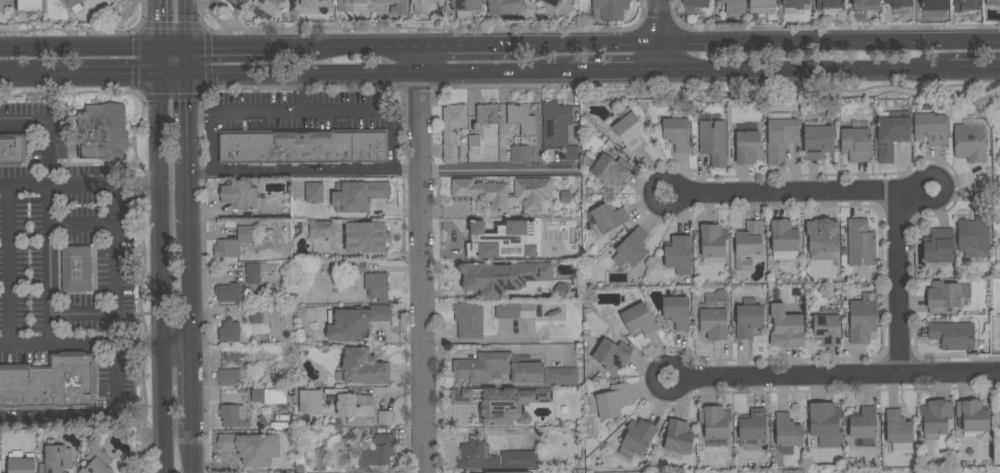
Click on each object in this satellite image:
building: (73, 2)
building: (552, 2)
building: (993, 2)
building: (313, 3)
building: (795, 3)
building: (899, 3)
building: (4, 4)
building: (348, 4)
building: (829, 4)
building: (267, 5)
building: (693, 5)
building: (935, 5)
building: (966, 5)
building: (30, 6)
building: (396, 6)
building: (422, 6)
building: (506, 6)
building: (734, 6)
building: (763, 7)
building: (863, 7)
building: (465, 8)
building: (611, 9)
road: (658, 9)
traffic signals: (160, 17)
road: (657, 18)
road: (185, 21)
road: (756, 37)
road: (159, 38)
road: (467, 39)
road: (361, 40)
road: (230, 42)
traffic signals: (217, 43)
road: (79, 44)
road: (657, 53)
road: (419, 57)
road: (186, 59)
road: (612, 71)
road: (803, 71)
road: (493, 73)
road: (975, 73)
road: (302, 74)
road: (174, 76)
road: (86, 77)
traffic signals: (125, 77)
road: (6, 79)
road: (301, 93)
road: (134, 95)
traffic signals: (188, 106)
road: (303, 112)
building: (487, 114)
building: (555, 118)
building: (521, 119)
building: (931, 125)
building: (452, 130)
building: (629, 130)
building: (102, 132)
building: (677, 134)
building: (780, 136)
building: (891, 136)
building: (504, 140)
road: (394, 141)
building: (474, 141)
building: (713, 141)
road: (211, 142)
building: (818, 142)
building: (970, 142)
building: (856, 144)
building: (302, 146)
building: (748, 147)
road: (188, 149)
building: (12, 150)
road: (47, 152)
building: (571, 153)
building: (519, 154)
road: (304, 170)
building: (608, 170)
road: (492, 171)
road: (946, 183)
road: (105, 184)
building: (506, 192)
building: (313, 193)
road: (650, 193)
road: (799, 193)
building: (239, 195)
building: (379, 197)
building: (609, 217)
road: (82, 226)
building: (322, 229)
building: (784, 236)
building: (974, 236)
building: (366, 237)
building: (822, 238)
building: (472, 239)
building: (713, 241)
building: (234, 242)
building: (861, 243)
building: (748, 245)
building: (939, 246)
road: (116, 247)
building: (631, 248)
building: (504, 251)
building: (544, 251)
building: (679, 254)
road: (48, 264)
road: (11, 265)
building: (359, 267)
building: (76, 268)
building: (329, 270)
building: (254, 272)
road: (421, 273)
road: (163, 274)
building: (502, 277)
road: (897, 283)
building: (377, 286)
road: (191, 288)
building: (230, 293)
building: (942, 297)
building: (527, 310)
building: (507, 311)
building: (677, 312)
road: (85, 316)
building: (256, 316)
building: (748, 318)
building: (863, 318)
building: (639, 319)
building: (714, 319)
building: (469, 321)
building: (356, 322)
building: (827, 330)
building: (229, 331)
building: (786, 331)
building: (953, 336)
road: (95, 344)
road: (483, 350)
building: (612, 355)
building: (362, 368)
building: (498, 368)
building: (560, 376)
road: (842, 376)
building: (227, 377)
road: (685, 379)
building: (51, 383)
road: (193, 390)
building: (269, 396)
building: (310, 401)
building: (613, 401)
building: (502, 403)
building: (354, 408)
road: (90, 415)
building: (234, 416)
building: (972, 416)
building: (385, 417)
building: (936, 418)
building: (827, 419)
building: (716, 422)
building: (863, 424)
building: (752, 425)
building: (898, 427)
building: (787, 431)
building: (638, 436)
building: (679, 437)
building: (251, 448)
road: (194, 451)
building: (378, 451)
building: (476, 455)
building: (55, 457)
building: (318, 459)
building: (519, 459)
building: (97, 462)
building: (21, 463)
building: (518, 472)

